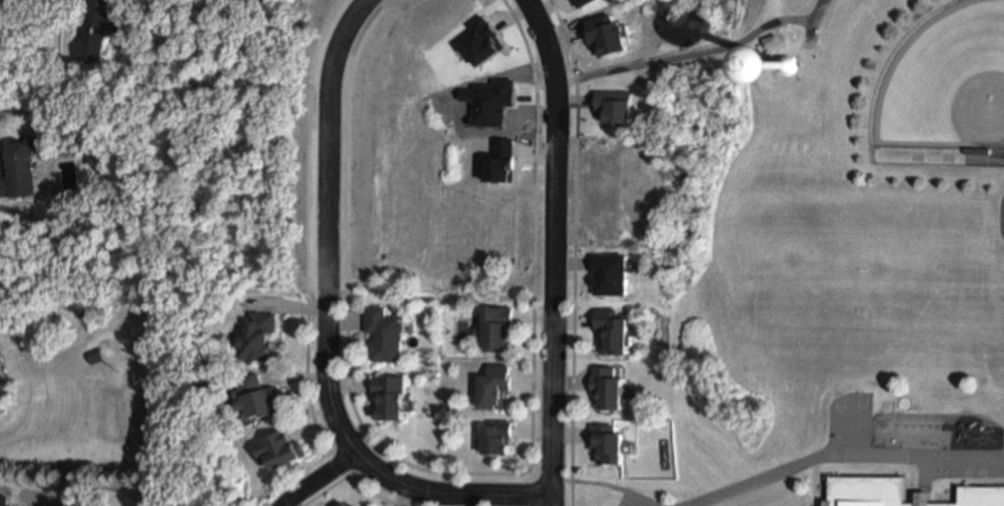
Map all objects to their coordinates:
road: (813, 20)
building: (96, 28)
road: (685, 54)
building: (798, 61)
water tower: (786, 65)
park: (946, 83)
road: (349, 143)
road: (555, 146)
building: (979, 151)
building: (19, 165)
road: (305, 240)
road: (574, 250)
road: (326, 328)
building: (497, 328)
building: (616, 330)
building: (387, 333)
building: (258, 335)
building: (97, 356)
building: (496, 385)
building: (611, 388)
road: (531, 389)
building: (392, 396)
building: (258, 397)
road: (551, 402)
building: (498, 438)
building: (611, 445)
building: (281, 449)
road: (375, 449)
road: (530, 474)
road: (351, 475)
road: (320, 477)
road: (349, 477)
road: (545, 479)
road: (757, 480)
road: (564, 481)
road: (816, 482)
road: (80, 485)
road: (608, 485)
road: (926, 487)
road: (533, 492)
building: (902, 493)
parking lot: (637, 499)
road: (642, 503)
road: (649, 503)
building: (345, 504)
building: (3, 505)
building: (355, 505)

